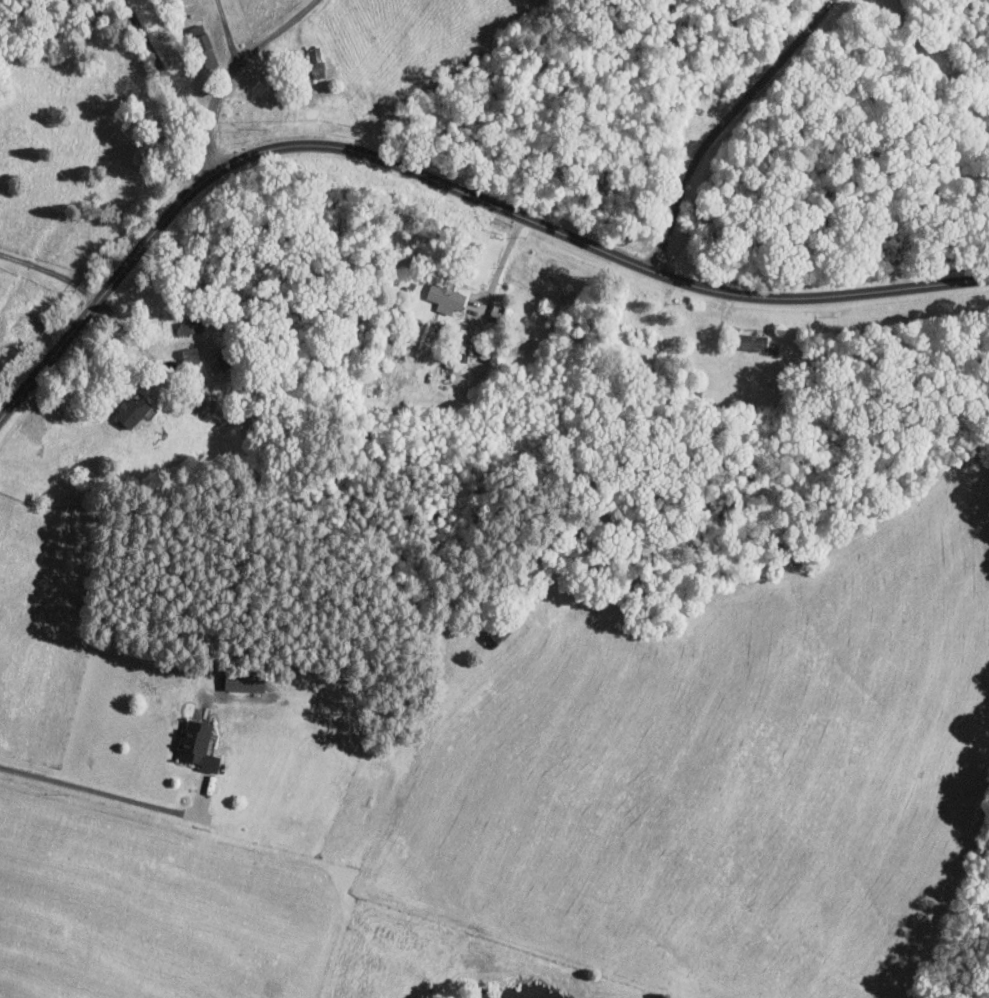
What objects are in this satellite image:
road: (231, 28)
building: (206, 50)
road: (242, 56)
road: (177, 81)
road: (726, 122)
road: (441, 180)
road: (503, 263)
road: (50, 270)
building: (445, 298)
road: (132, 336)
building: (751, 341)
building: (132, 411)
building: (243, 679)
building: (197, 744)
road: (100, 791)

